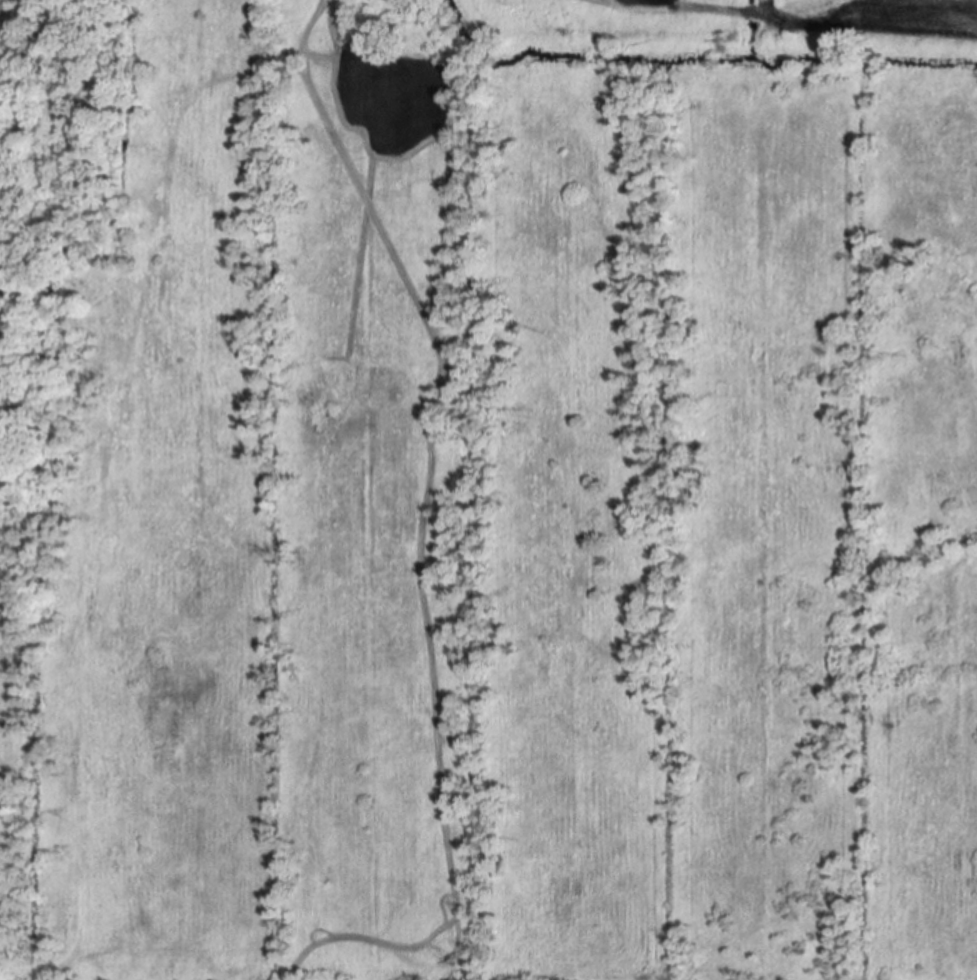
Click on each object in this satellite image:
river: (689, 51)

